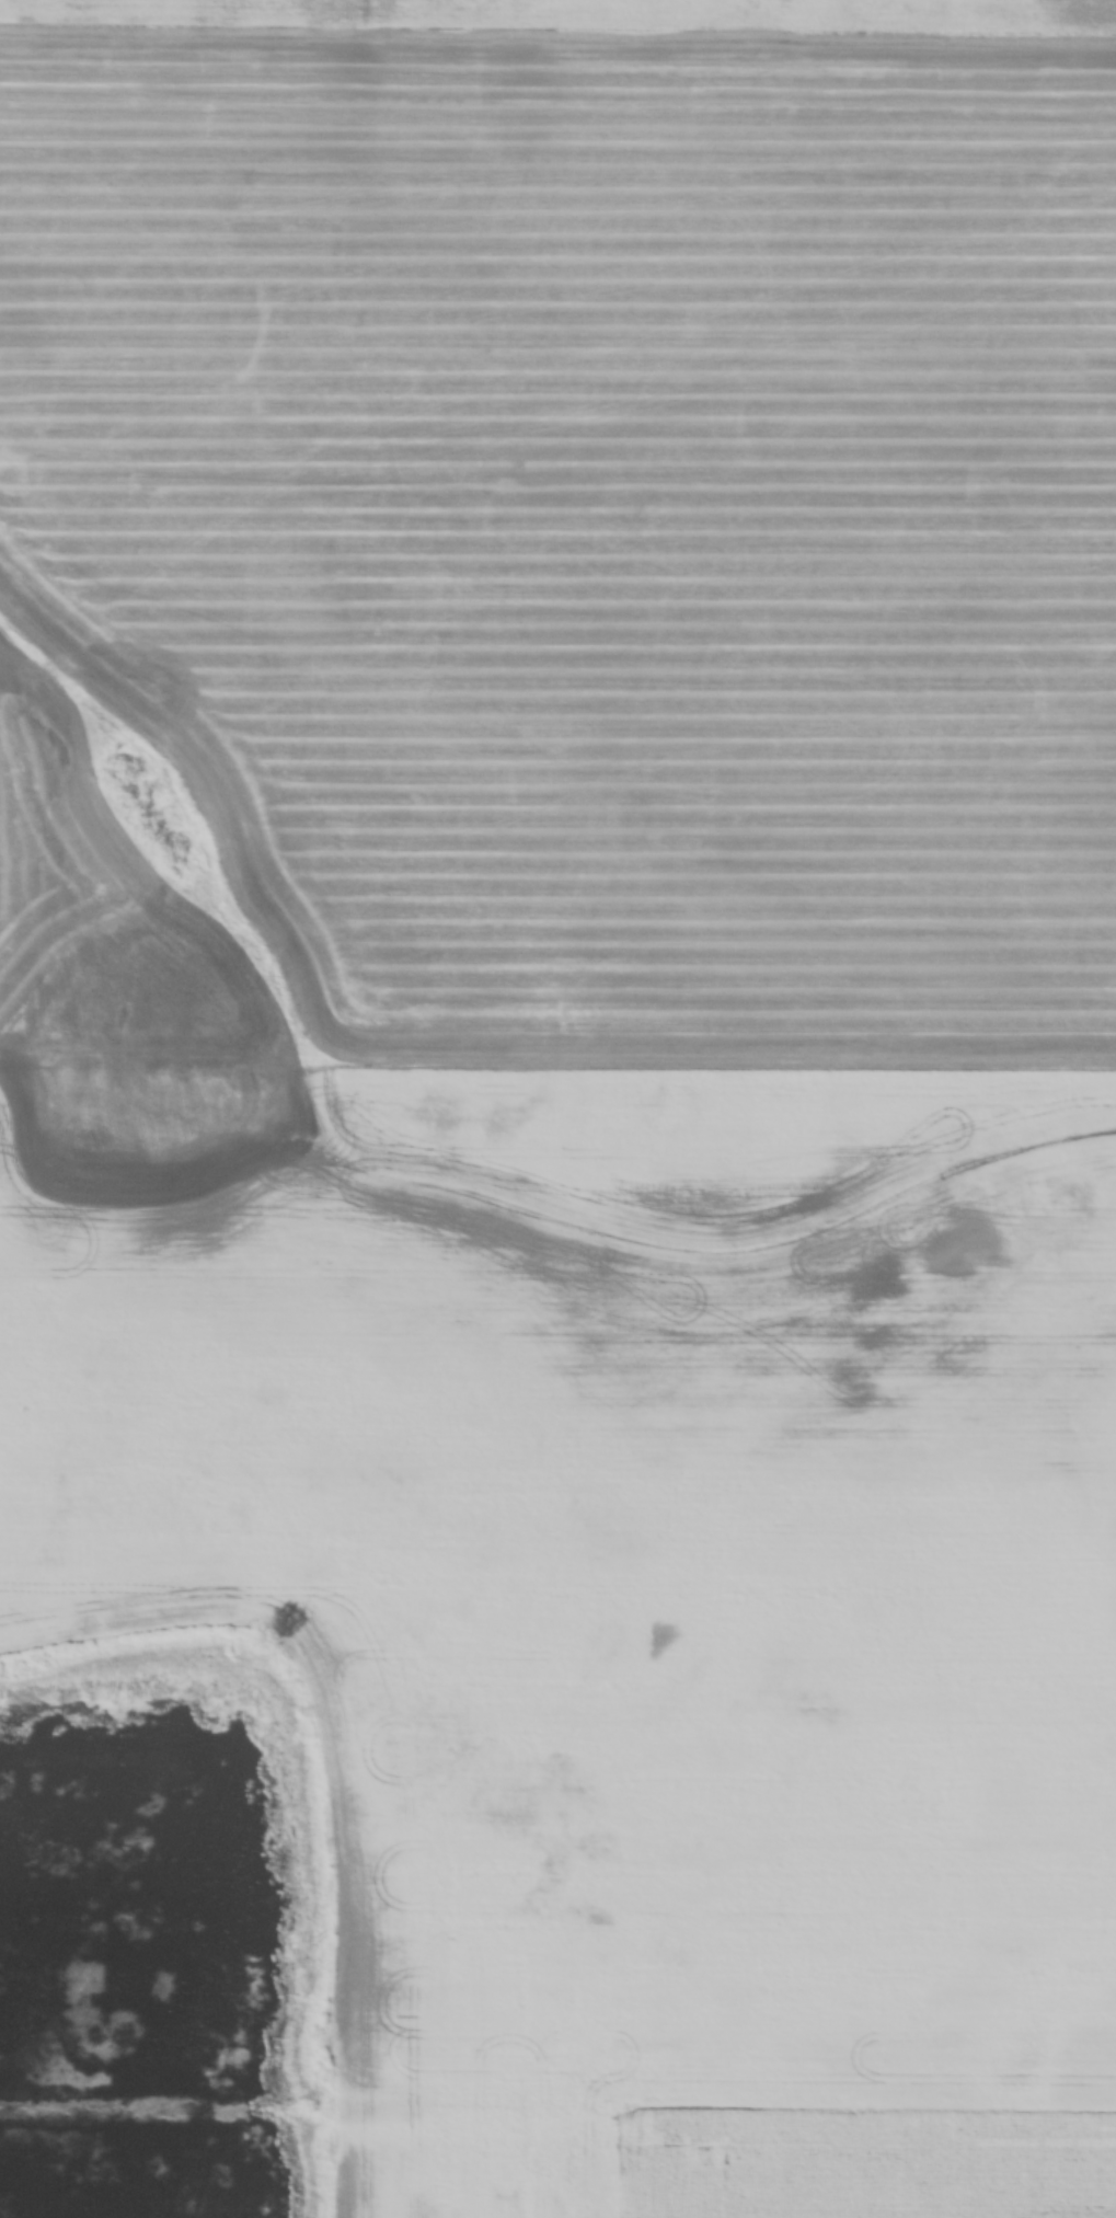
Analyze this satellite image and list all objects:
road: (859, 2110)

